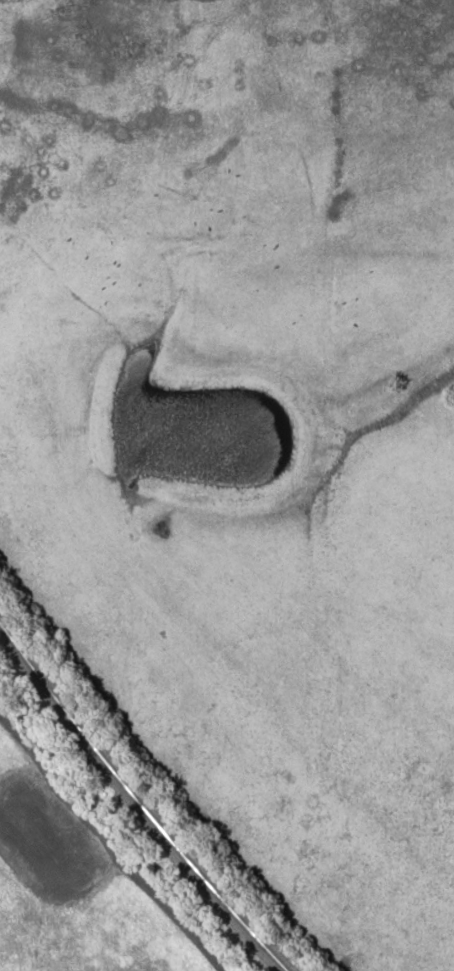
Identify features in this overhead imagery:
railway: (153, 773)

